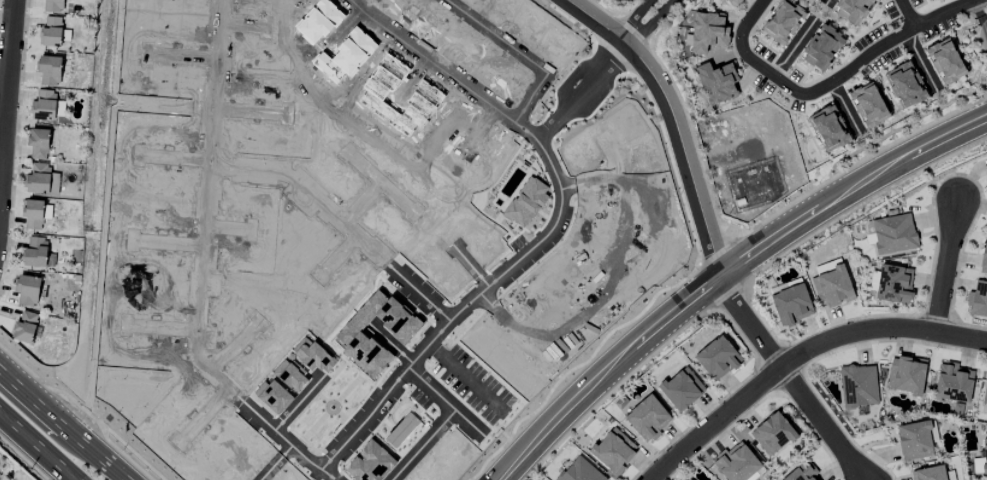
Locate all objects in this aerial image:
building: (817, 0)
road: (986, 0)
building: (734, 2)
building: (53, 5)
road: (981, 8)
building: (852, 10)
road: (908, 14)
road: (633, 19)
road: (750, 20)
building: (783, 22)
road: (650, 24)
road: (973, 28)
road: (662, 29)
road: (985, 29)
building: (51, 32)
building: (708, 32)
building: (822, 48)
building: (945, 62)
road: (853, 67)
building: (49, 70)
building: (717, 82)
building: (905, 85)
road: (6, 94)
building: (44, 105)
building: (868, 105)
road: (498, 110)
road: (673, 119)
building: (829, 128)
road: (1, 139)
building: (38, 143)
building: (41, 180)
road: (588, 182)
road: (849, 190)
road: (94, 198)
building: (33, 215)
road: (340, 222)
building: (894, 234)
road: (170, 244)
building: (35, 252)
road: (616, 254)
building: (984, 258)
road: (946, 266)
building: (894, 284)
road: (489, 286)
building: (833, 287)
building: (28, 289)
building: (978, 301)
building: (791, 305)
building: (25, 327)
road: (164, 329)
road: (514, 330)
road: (233, 347)
road: (196, 350)
road: (800, 356)
building: (718, 358)
road: (604, 371)
building: (906, 375)
road: (33, 376)
road: (789, 379)
building: (954, 383)
building: (859, 386)
building: (682, 389)
building: (985, 394)
road: (446, 403)
road: (77, 416)
road: (203, 416)
building: (648, 418)
road: (62, 425)
building: (773, 434)
building: (915, 440)
road: (421, 445)
road: (36, 447)
building: (614, 450)
road: (119, 451)
road: (23, 458)
building: (981, 461)
building: (736, 463)
building: (580, 471)
building: (802, 472)
building: (929, 473)
building: (0, 475)
road: (326, 477)
building: (686, 479)

